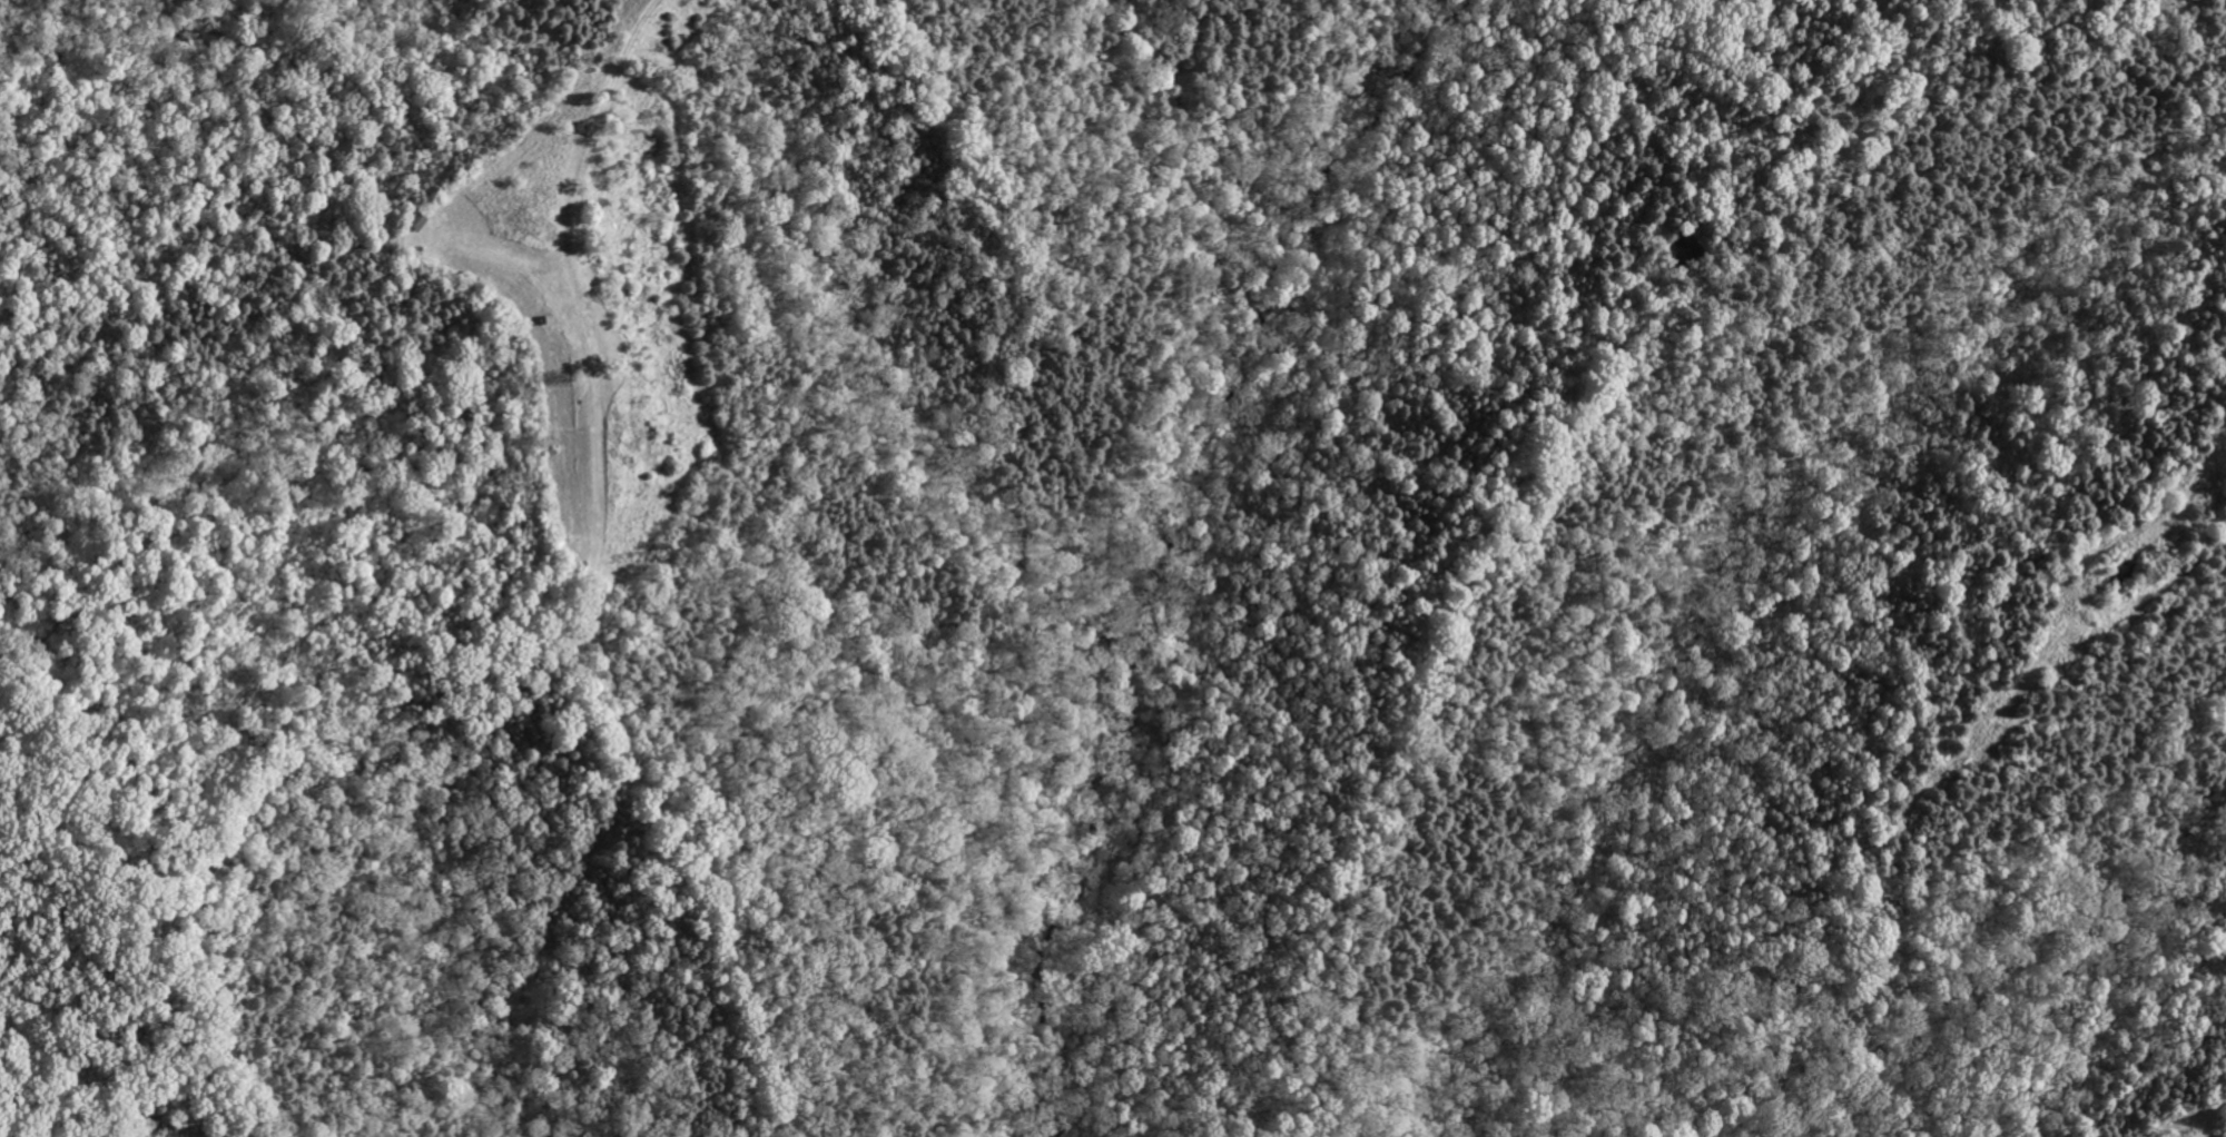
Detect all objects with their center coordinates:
road: (2219, 1130)

